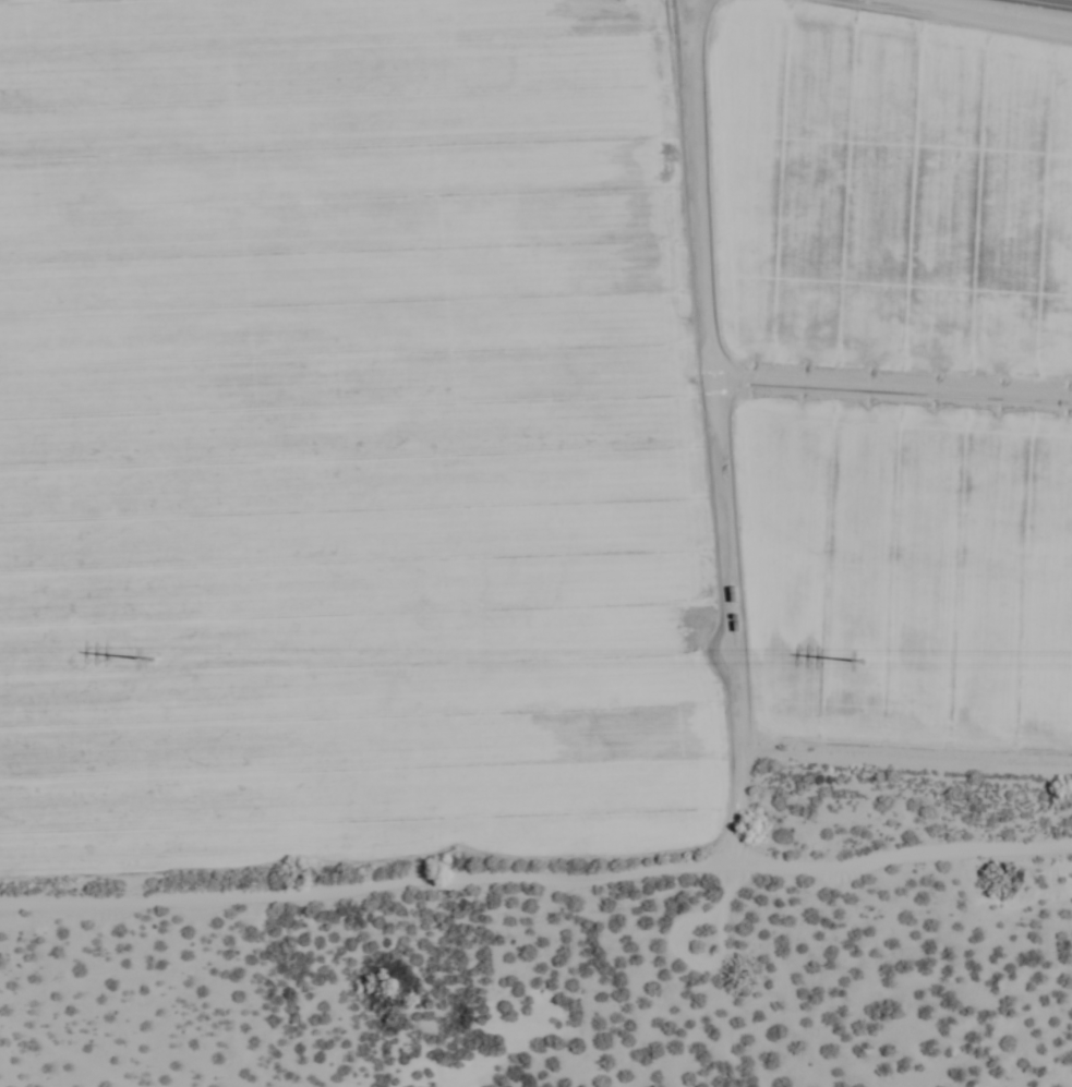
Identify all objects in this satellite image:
road: (1060, 1)
power tower: (152, 655)
power tower: (863, 656)

